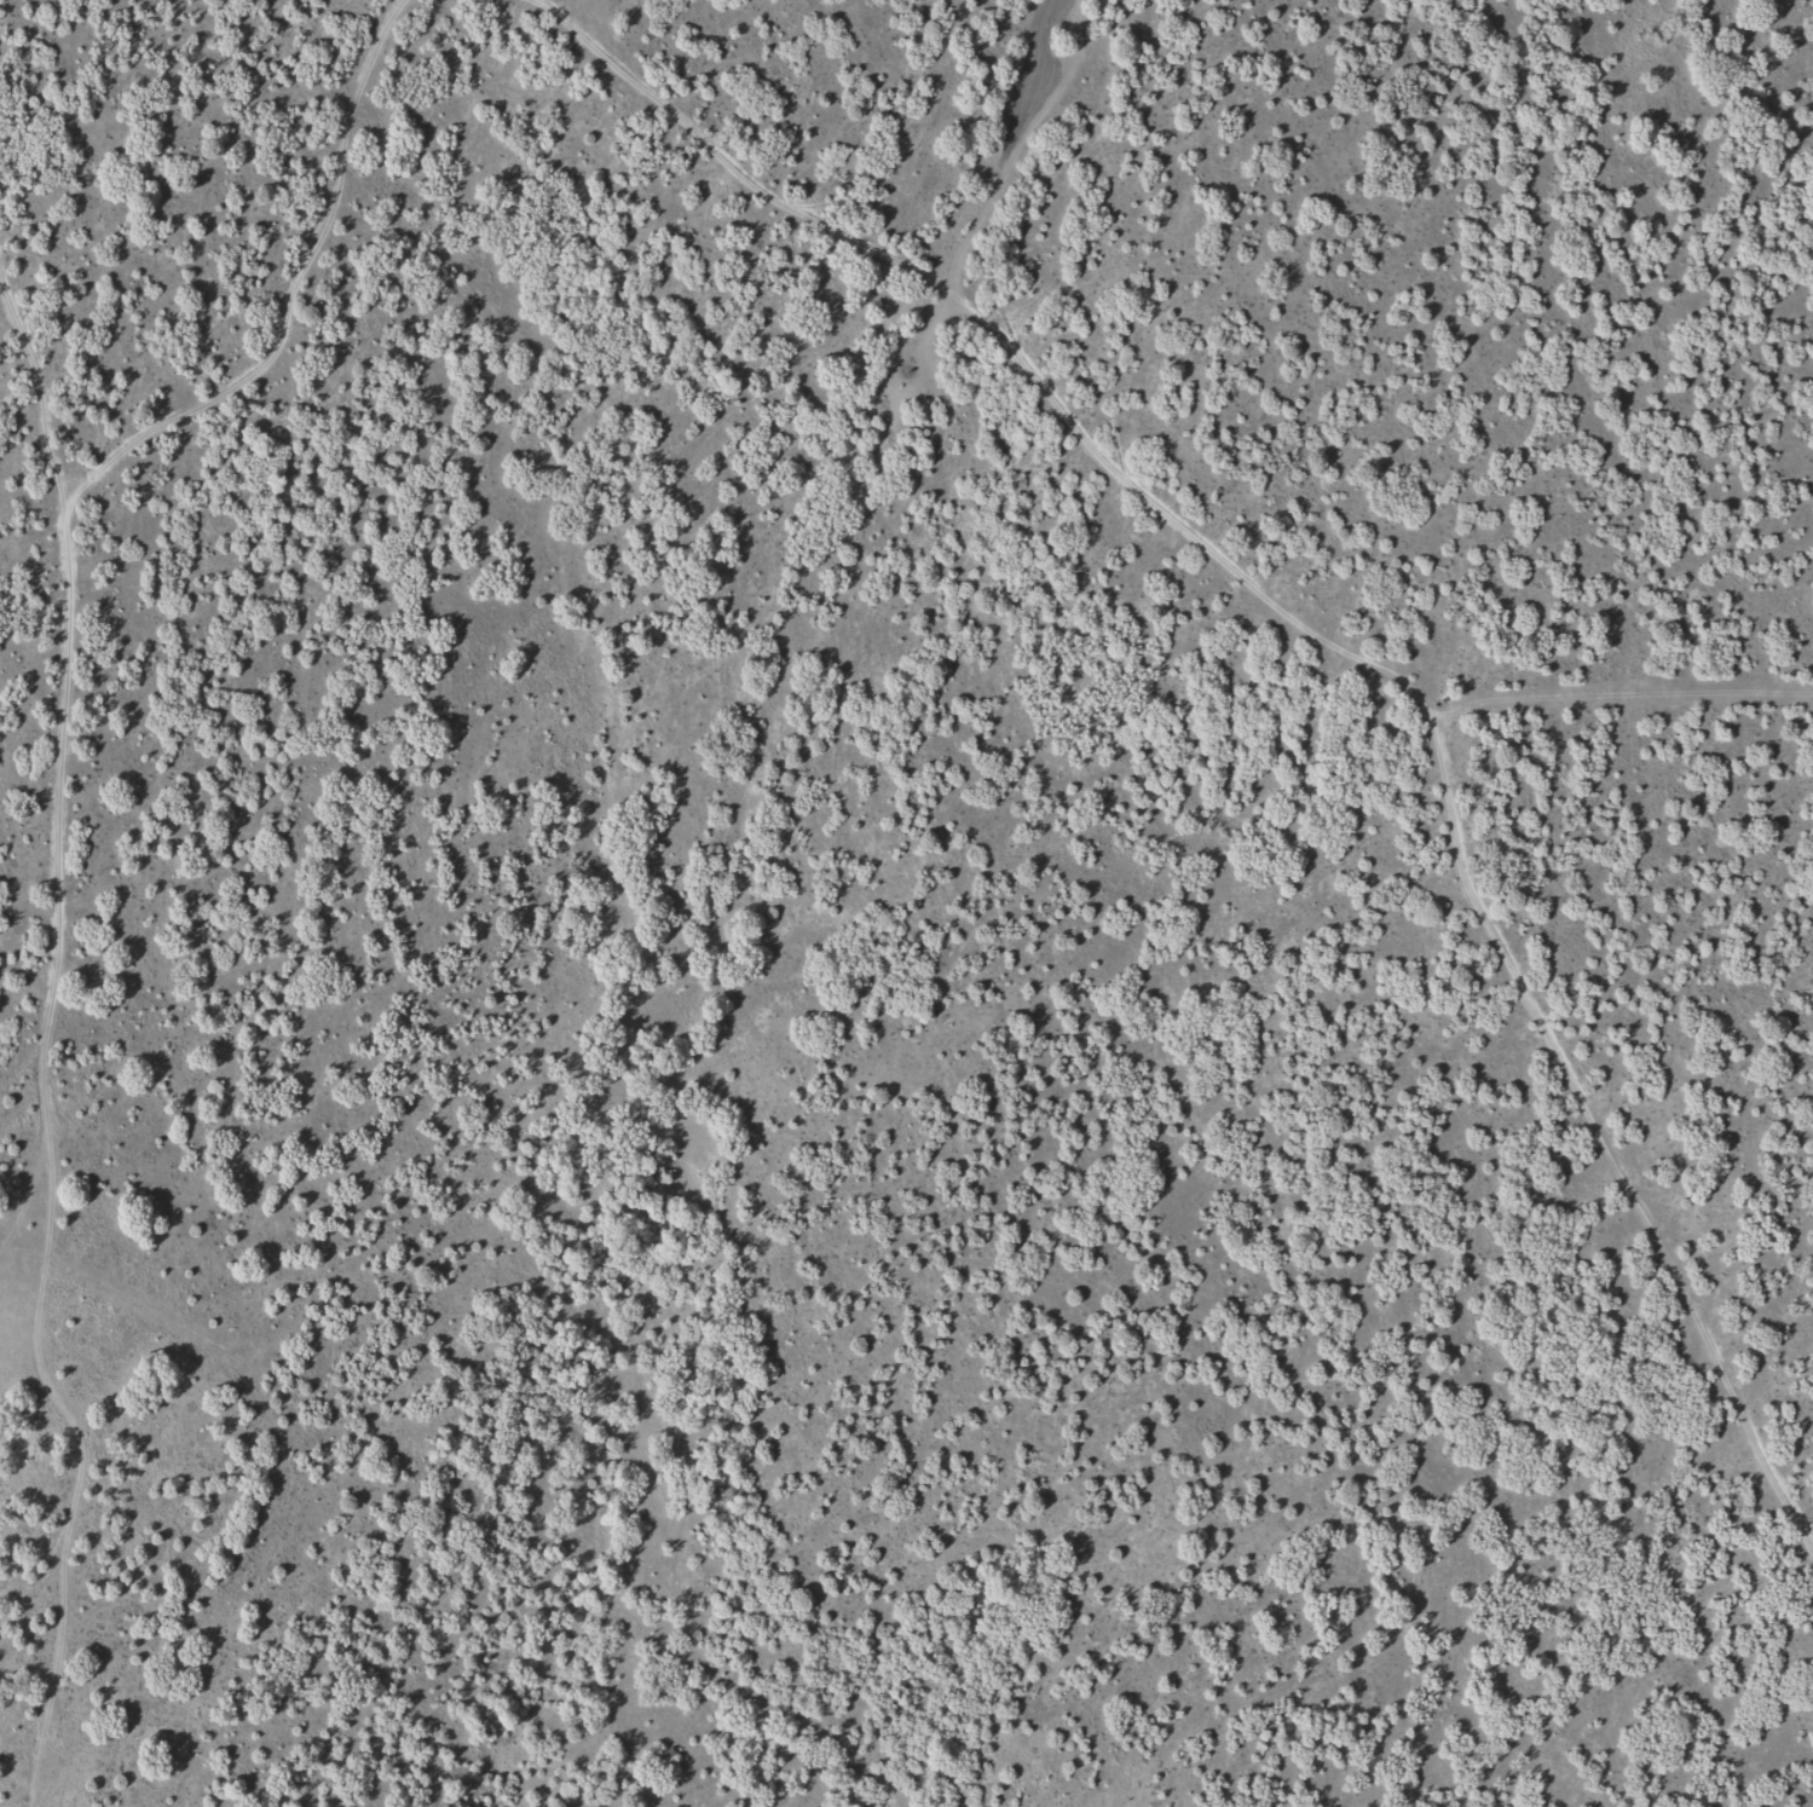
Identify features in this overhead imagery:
road: (463, 1)
road: (1095, 420)
road: (46, 762)

